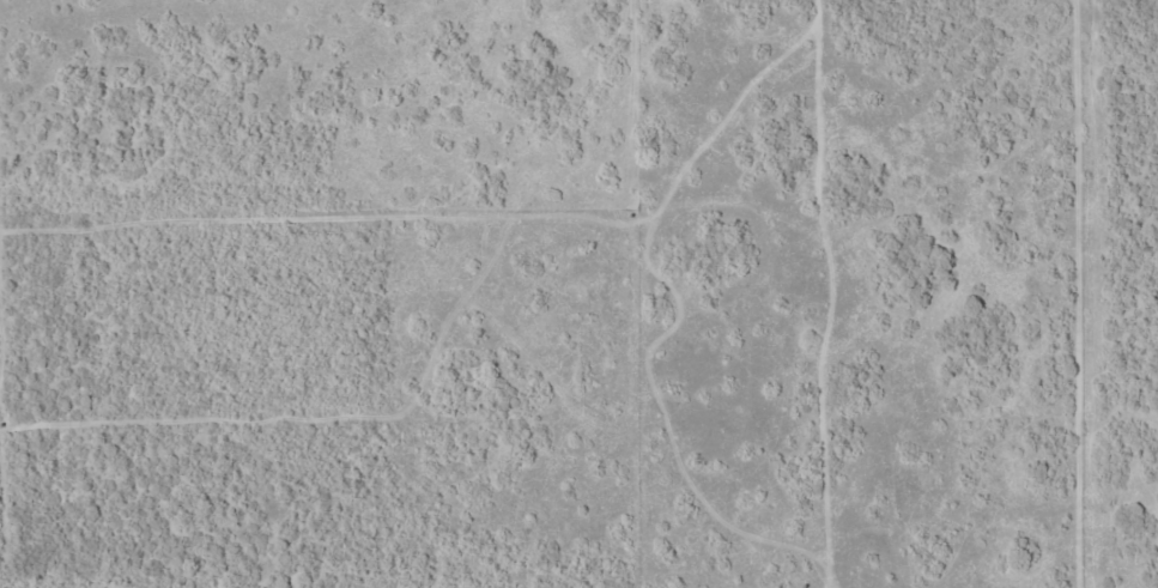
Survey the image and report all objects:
road: (523, 150)

